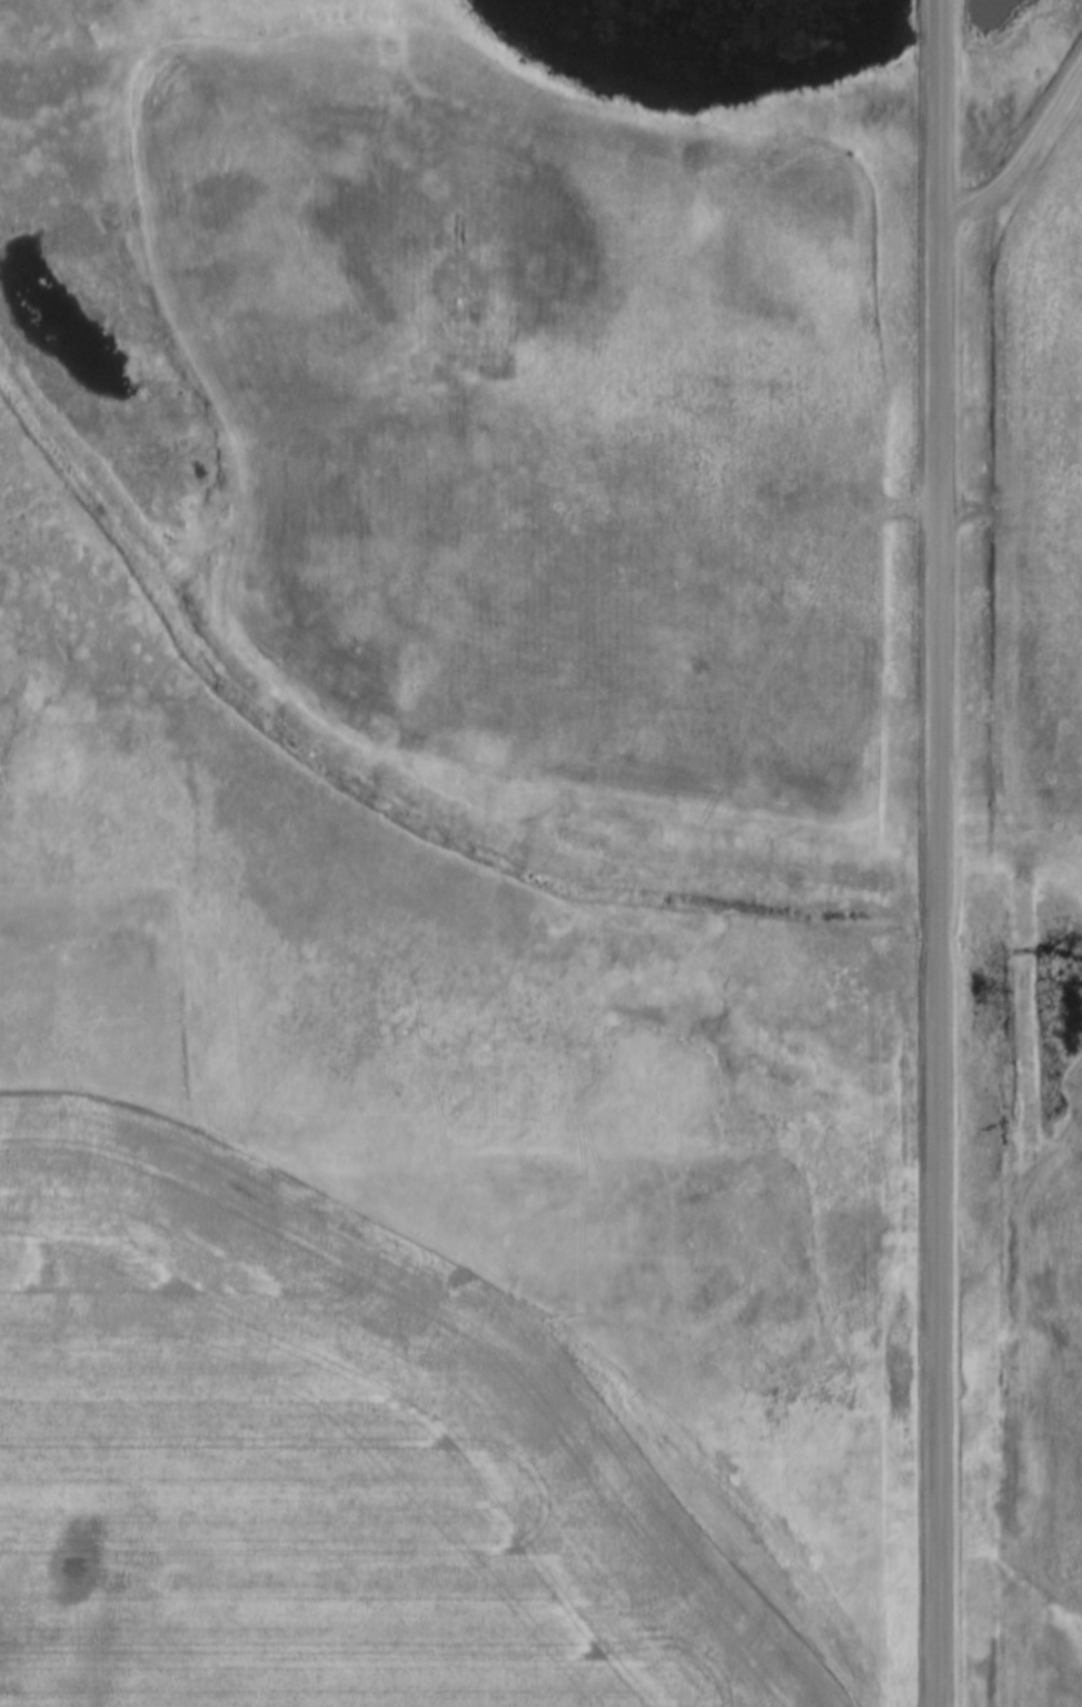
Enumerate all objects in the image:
road: (1022, 152)
road: (940, 852)

